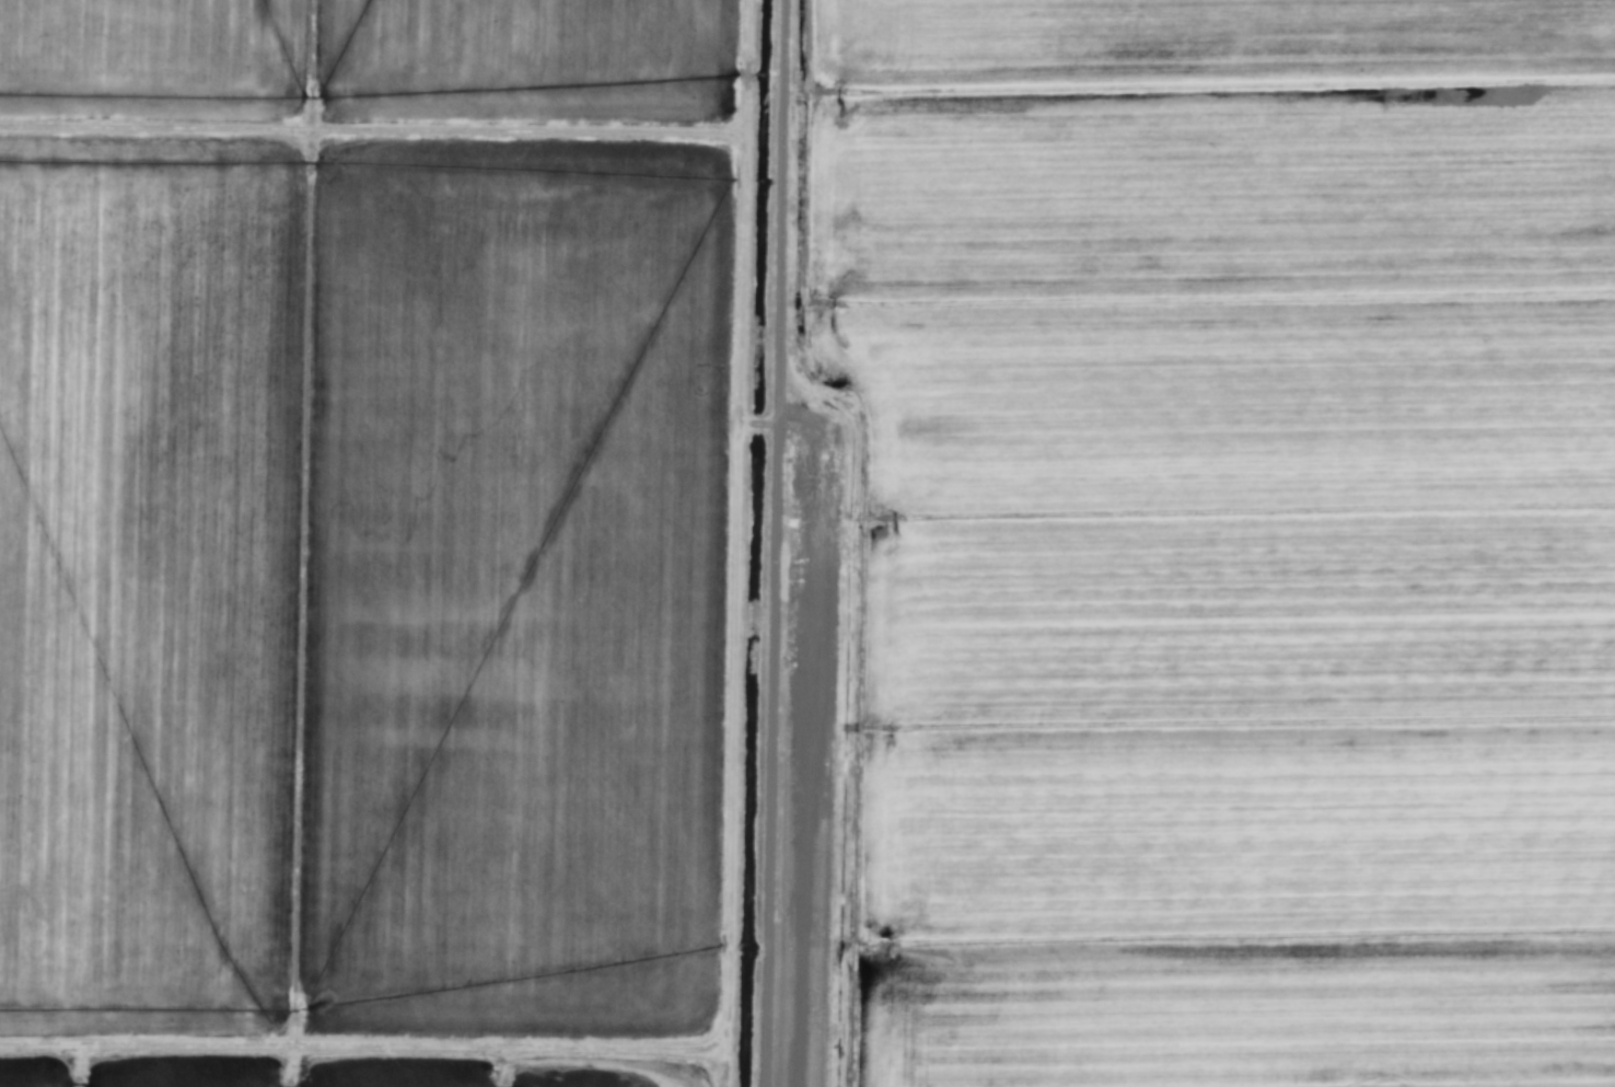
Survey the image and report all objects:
road: (772, 543)
crop: (807, 543)

